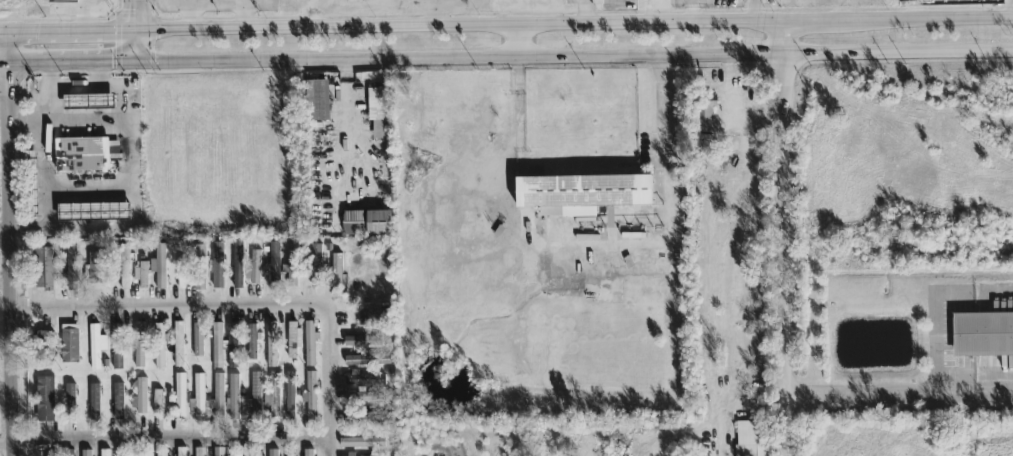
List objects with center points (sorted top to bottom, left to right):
building: (63, 1)
road: (916, 9)
road: (1012, 9)
road: (242, 11)
road: (191, 15)
road: (136, 16)
road: (935, 18)
road: (821, 20)
road: (459, 26)
road: (121, 32)
road: (54, 33)
road: (2, 35)
road: (519, 41)
road: (136, 47)
road: (574, 57)
road: (86, 63)
road: (18, 65)
road: (98, 76)
road: (89, 90)
road: (50, 93)
building: (318, 101)
building: (89, 103)
road: (343, 103)
building: (379, 111)
building: (700, 112)
road: (519, 115)
road: (66, 120)
building: (85, 155)
road: (129, 158)
gas station: (83, 159)
road: (42, 176)
building: (32, 179)
road: (525, 191)
road: (87, 195)
building: (582, 195)
building: (94, 212)
building: (367, 224)
road: (70, 230)
road: (673, 235)
road: (786, 238)
road: (8, 245)
building: (238, 265)
building: (218, 266)
building: (274, 266)
building: (292, 266)
building: (315, 266)
building: (97, 268)
building: (124, 268)
building: (159, 268)
building: (44, 269)
building: (71, 269)
building: (254, 269)
building: (193, 271)
building: (144, 276)
building: (337, 277)
road: (994, 295)
road: (169, 306)
building: (373, 314)
building: (983, 335)
building: (293, 340)
building: (198, 341)
building: (361, 342)
road: (938, 342)
building: (253, 343)
building: (119, 345)
building: (179, 345)
building: (140, 346)
building: (233, 346)
building: (272, 346)
building: (310, 346)
building: (70, 347)
building: (96, 347)
building: (217, 347)
building: (160, 348)
building: (366, 361)
road: (329, 379)
building: (364, 380)
road: (994, 389)
road: (864, 390)
building: (256, 394)
building: (290, 395)
building: (198, 396)
building: (273, 396)
building: (311, 396)
building: (181, 397)
building: (218, 397)
building: (234, 397)
building: (141, 398)
building: (362, 398)
building: (69, 399)
building: (45, 400)
building: (94, 402)
building: (118, 402)
building: (157, 402)
building: (370, 417)
building: (752, 439)
road: (172, 440)
building: (362, 443)
building: (181, 452)
building: (198, 452)
building: (220, 452)
building: (69, 453)
building: (86, 453)
building: (105, 453)
building: (162, 453)
building: (273, 453)
building: (308, 453)
building: (143, 455)
building: (240, 455)

